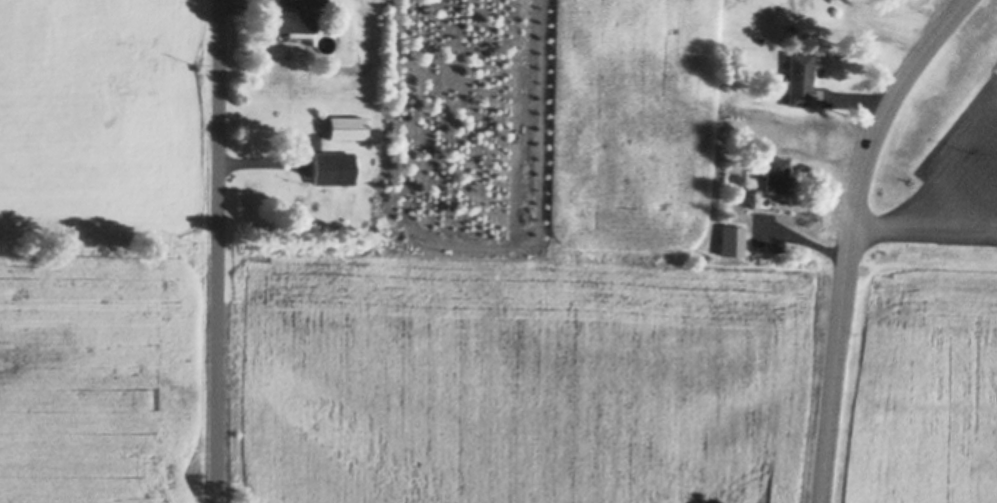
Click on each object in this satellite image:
building: (314, 3)
building: (294, 21)
building: (799, 79)
building: (348, 127)
park: (943, 161)
building: (334, 167)
building: (775, 177)
road: (924, 228)
road: (850, 236)
building: (731, 241)
building: (778, 248)
road: (218, 251)
crop: (94, 380)
crop: (519, 380)
crop: (923, 388)

